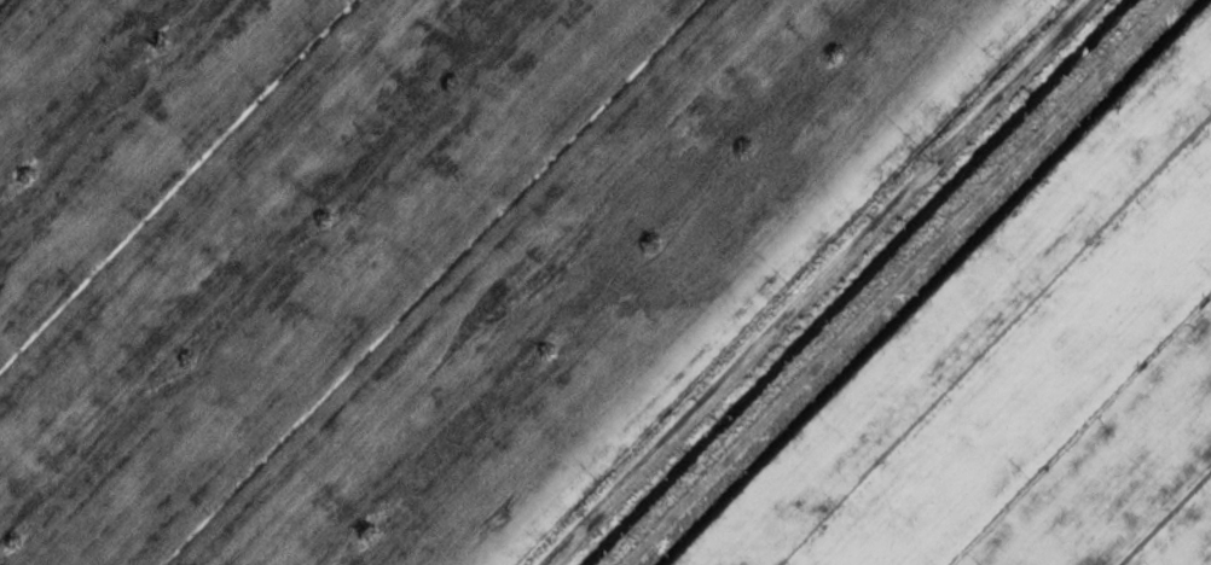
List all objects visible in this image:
road: (799, 282)

